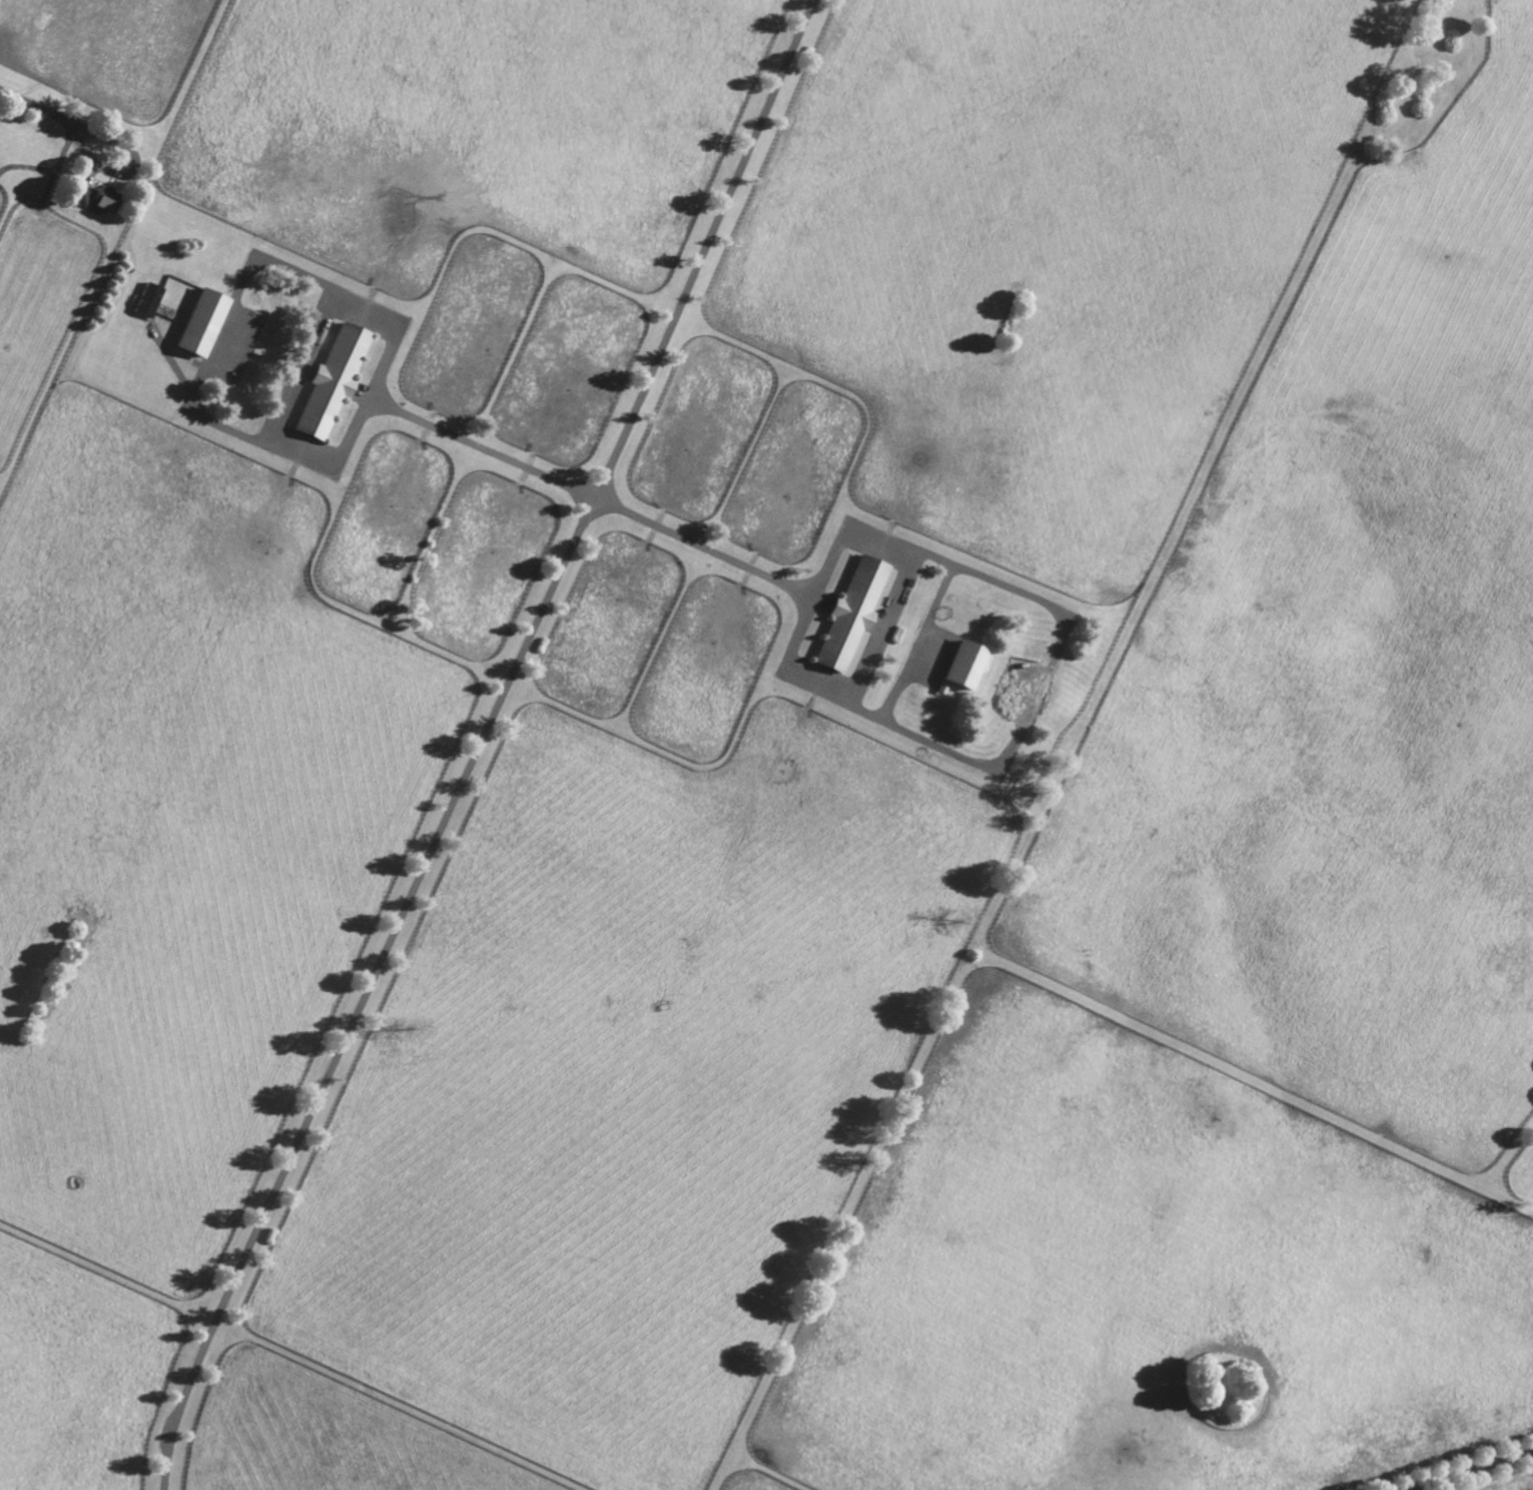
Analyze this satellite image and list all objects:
road: (32, 105)
road: (135, 171)
building: (94, 194)
building: (148, 298)
building: (200, 320)
road: (220, 328)
building: (332, 380)
road: (480, 447)
road: (699, 544)
building: (849, 613)
building: (963, 664)
building: (940, 687)
road: (481, 742)
road: (1477, 1470)

